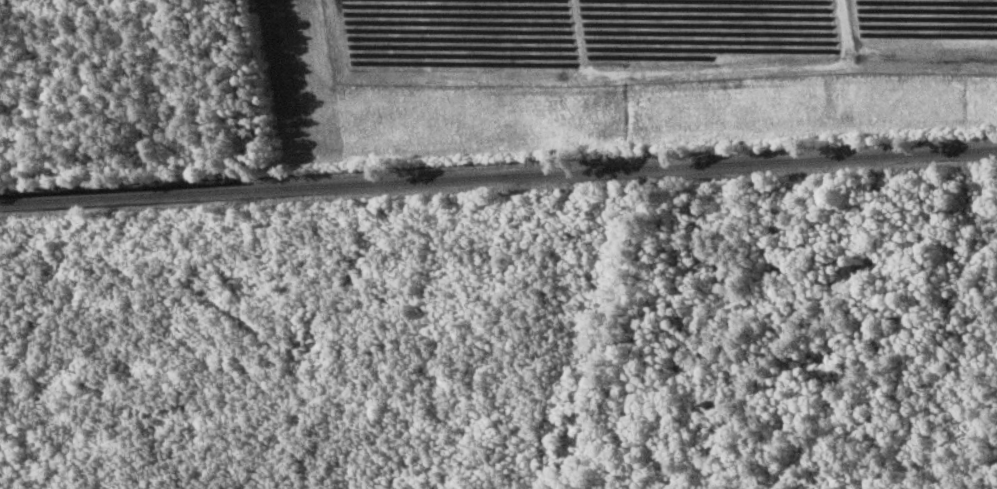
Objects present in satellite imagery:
solar farm: (651, 39)
railway: (498, 176)

